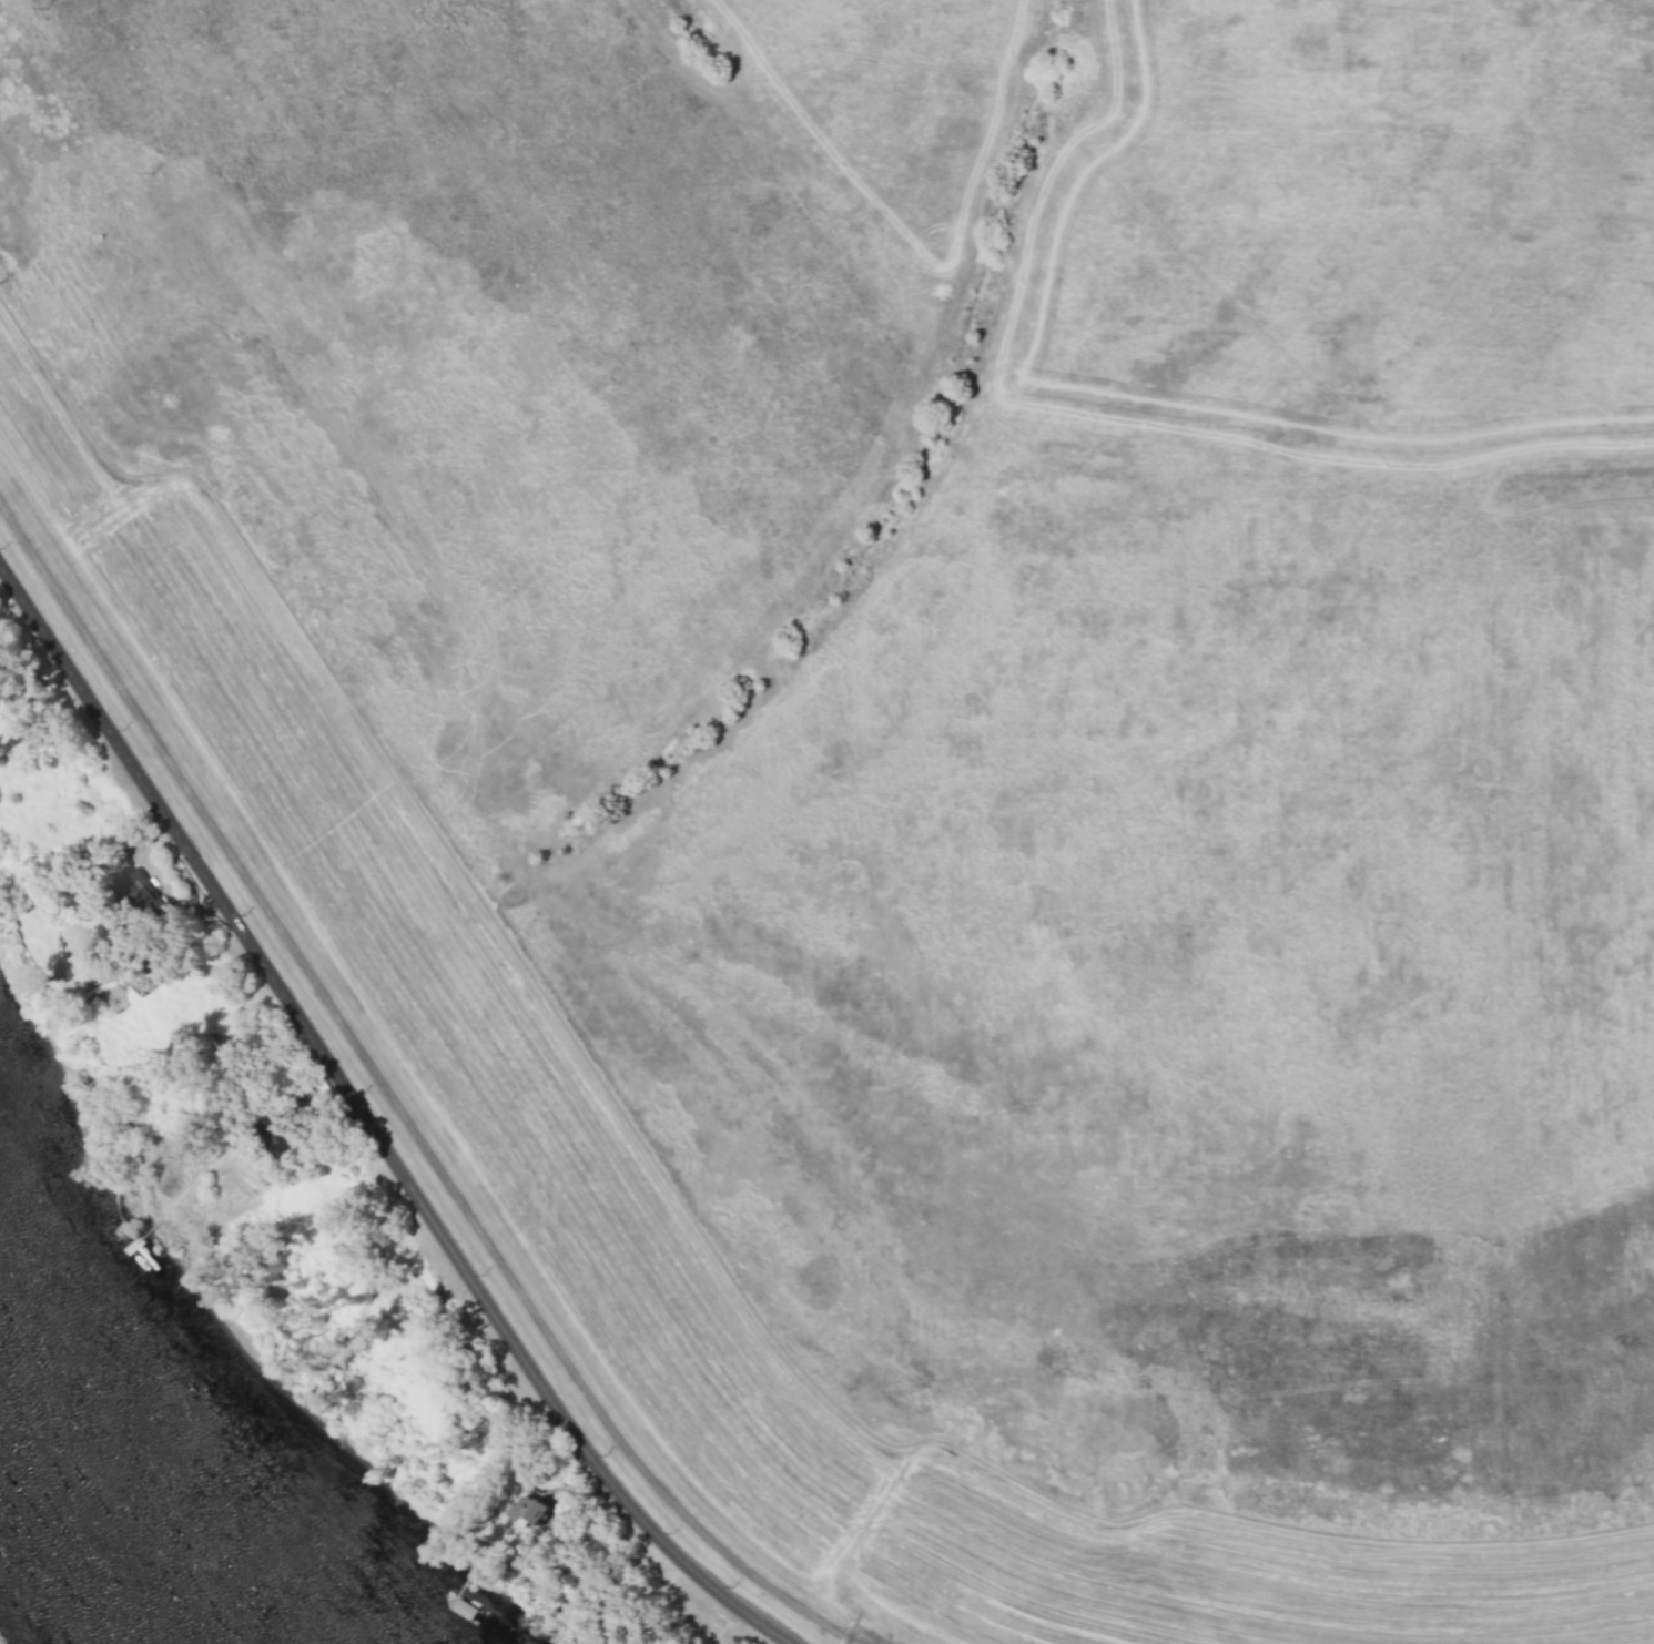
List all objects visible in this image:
building: (142, 891)
road: (371, 1125)
building: (532, 1510)
river: (151, 1514)
building: (464, 1610)

